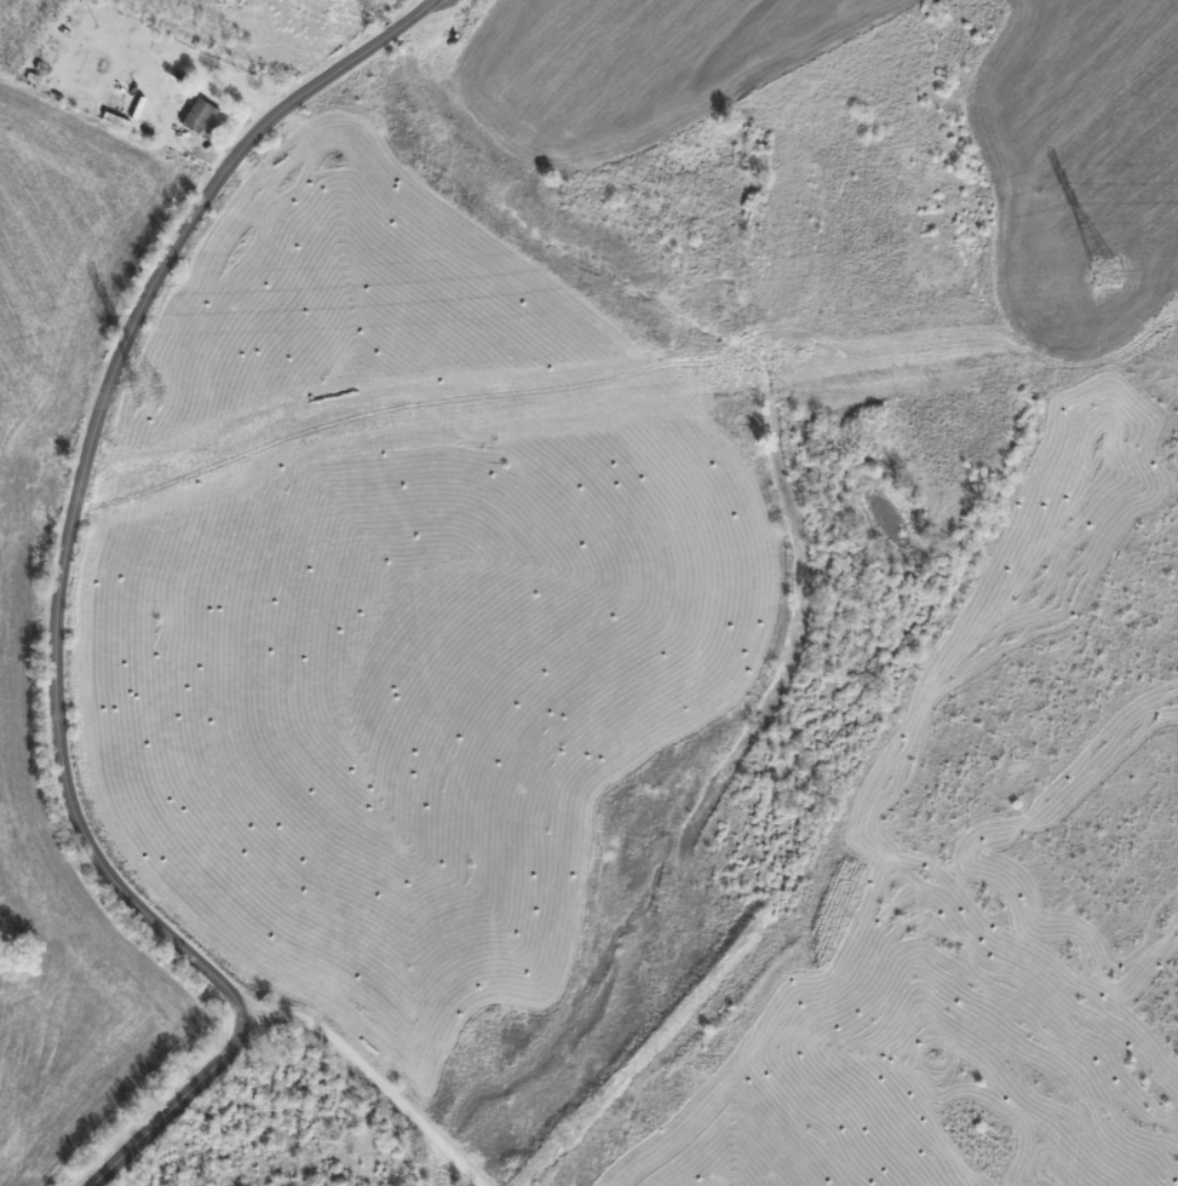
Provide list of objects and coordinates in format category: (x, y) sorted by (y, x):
building: (203, 115)
power tower: (1103, 272)
power tower: (146, 387)
road: (61, 591)
road: (375, 1080)

